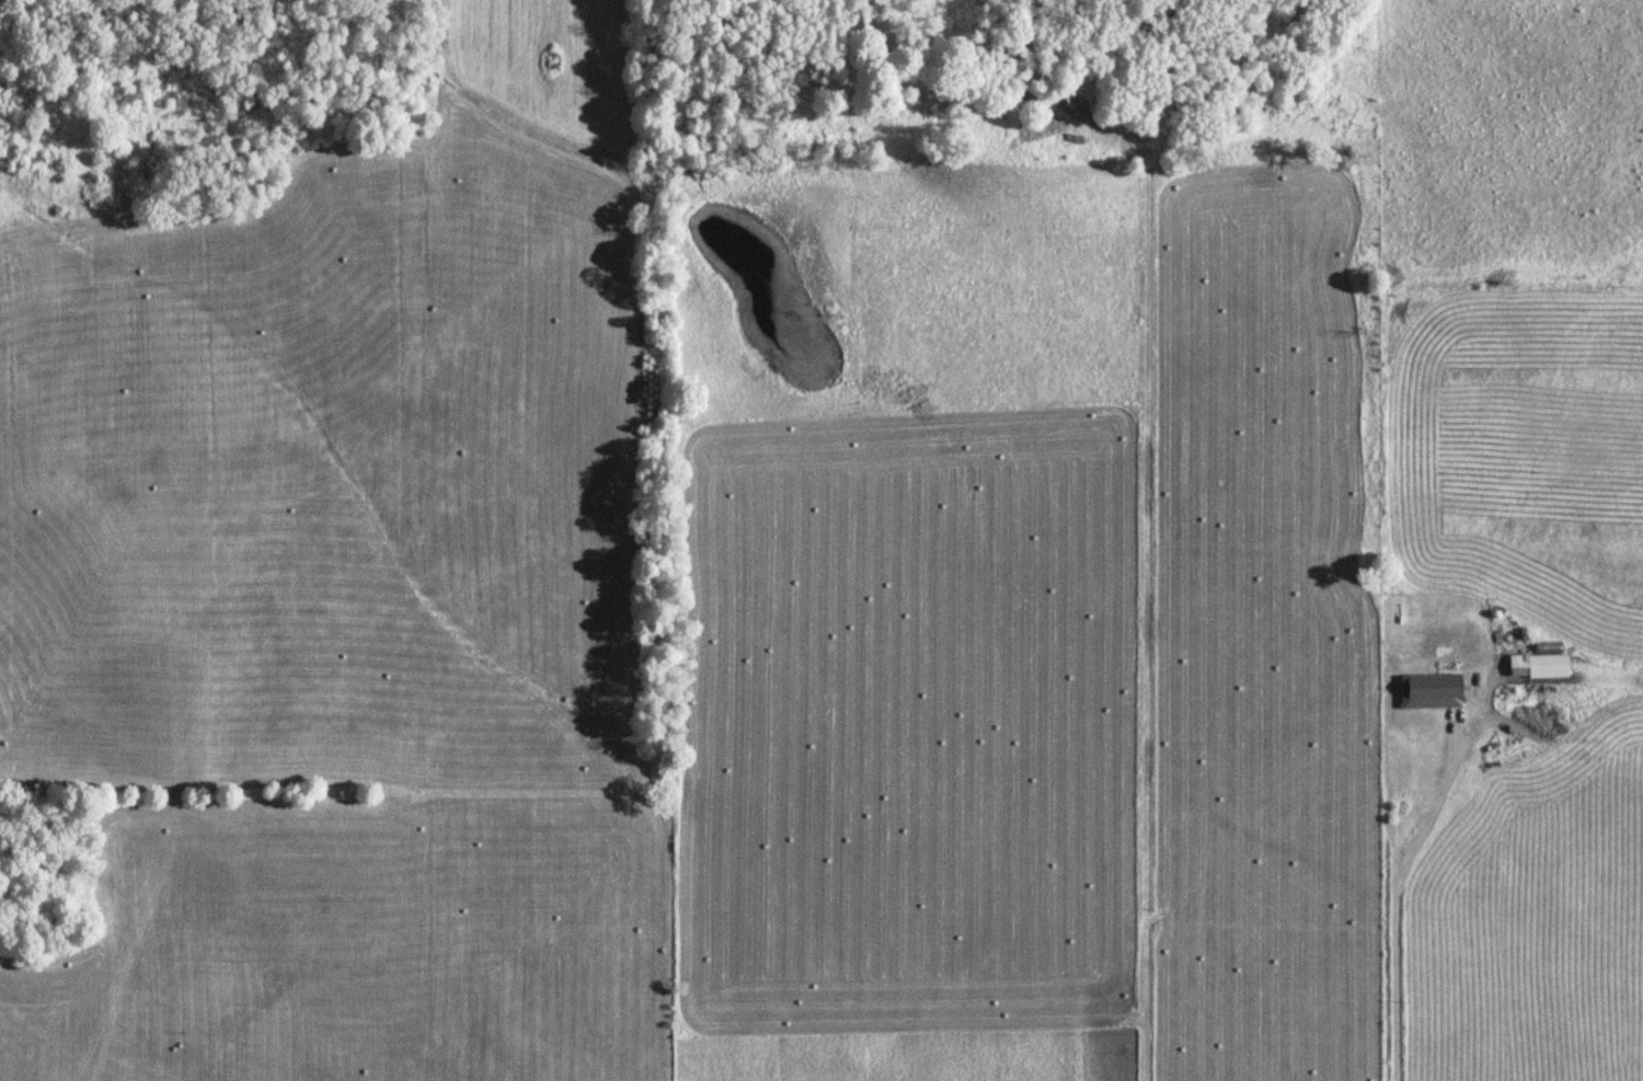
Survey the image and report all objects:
building: (1536, 666)
building: (1427, 690)

